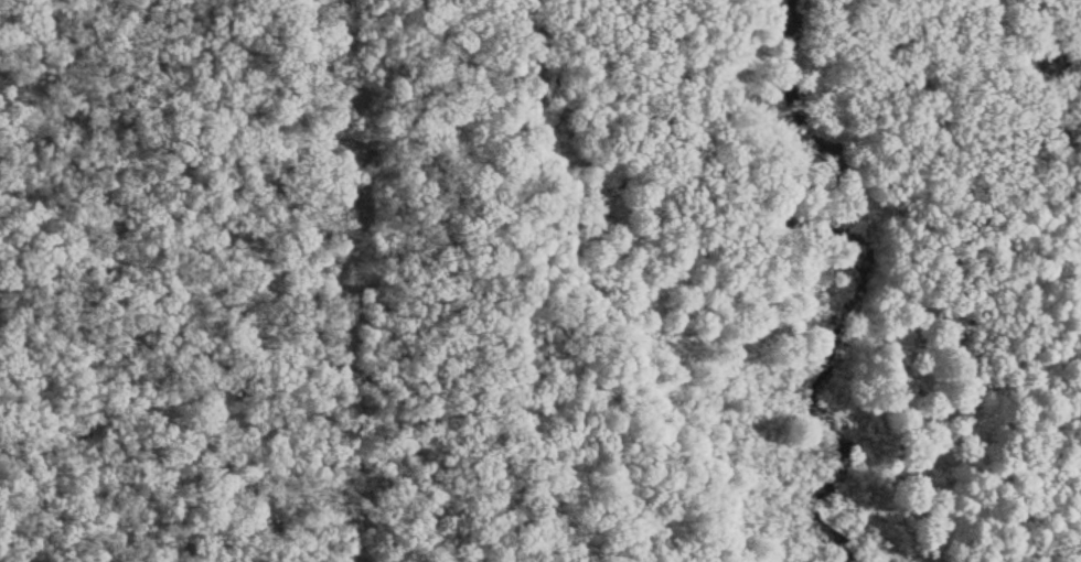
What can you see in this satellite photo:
road: (344, 281)
road: (2, 552)

